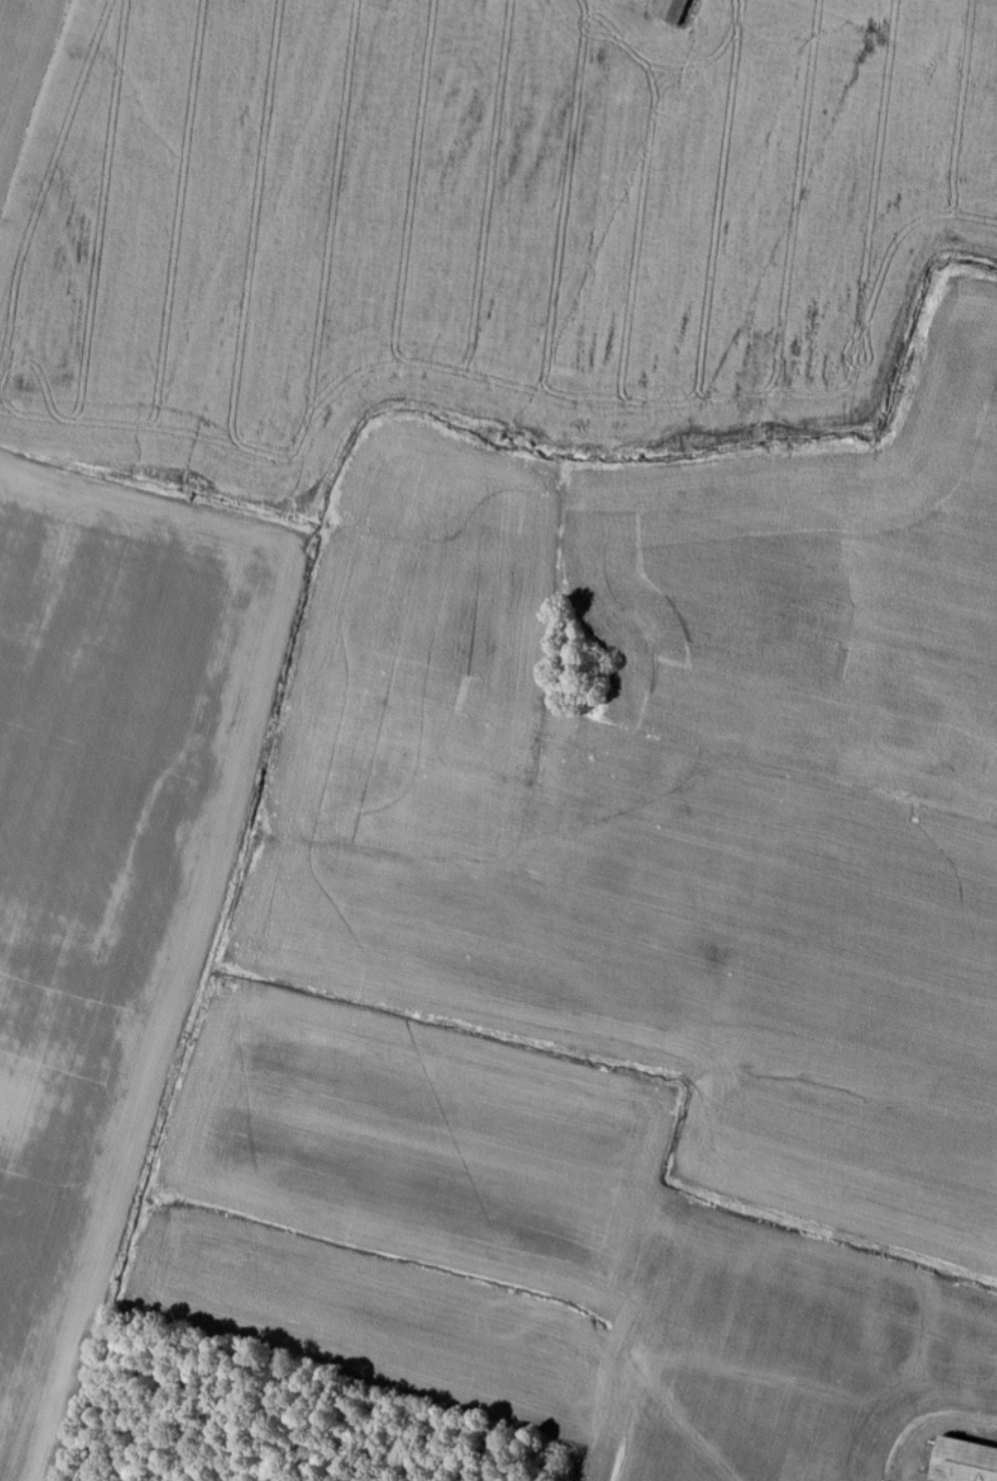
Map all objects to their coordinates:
building: (669, 11)
road: (600, 318)
building: (966, 1460)

